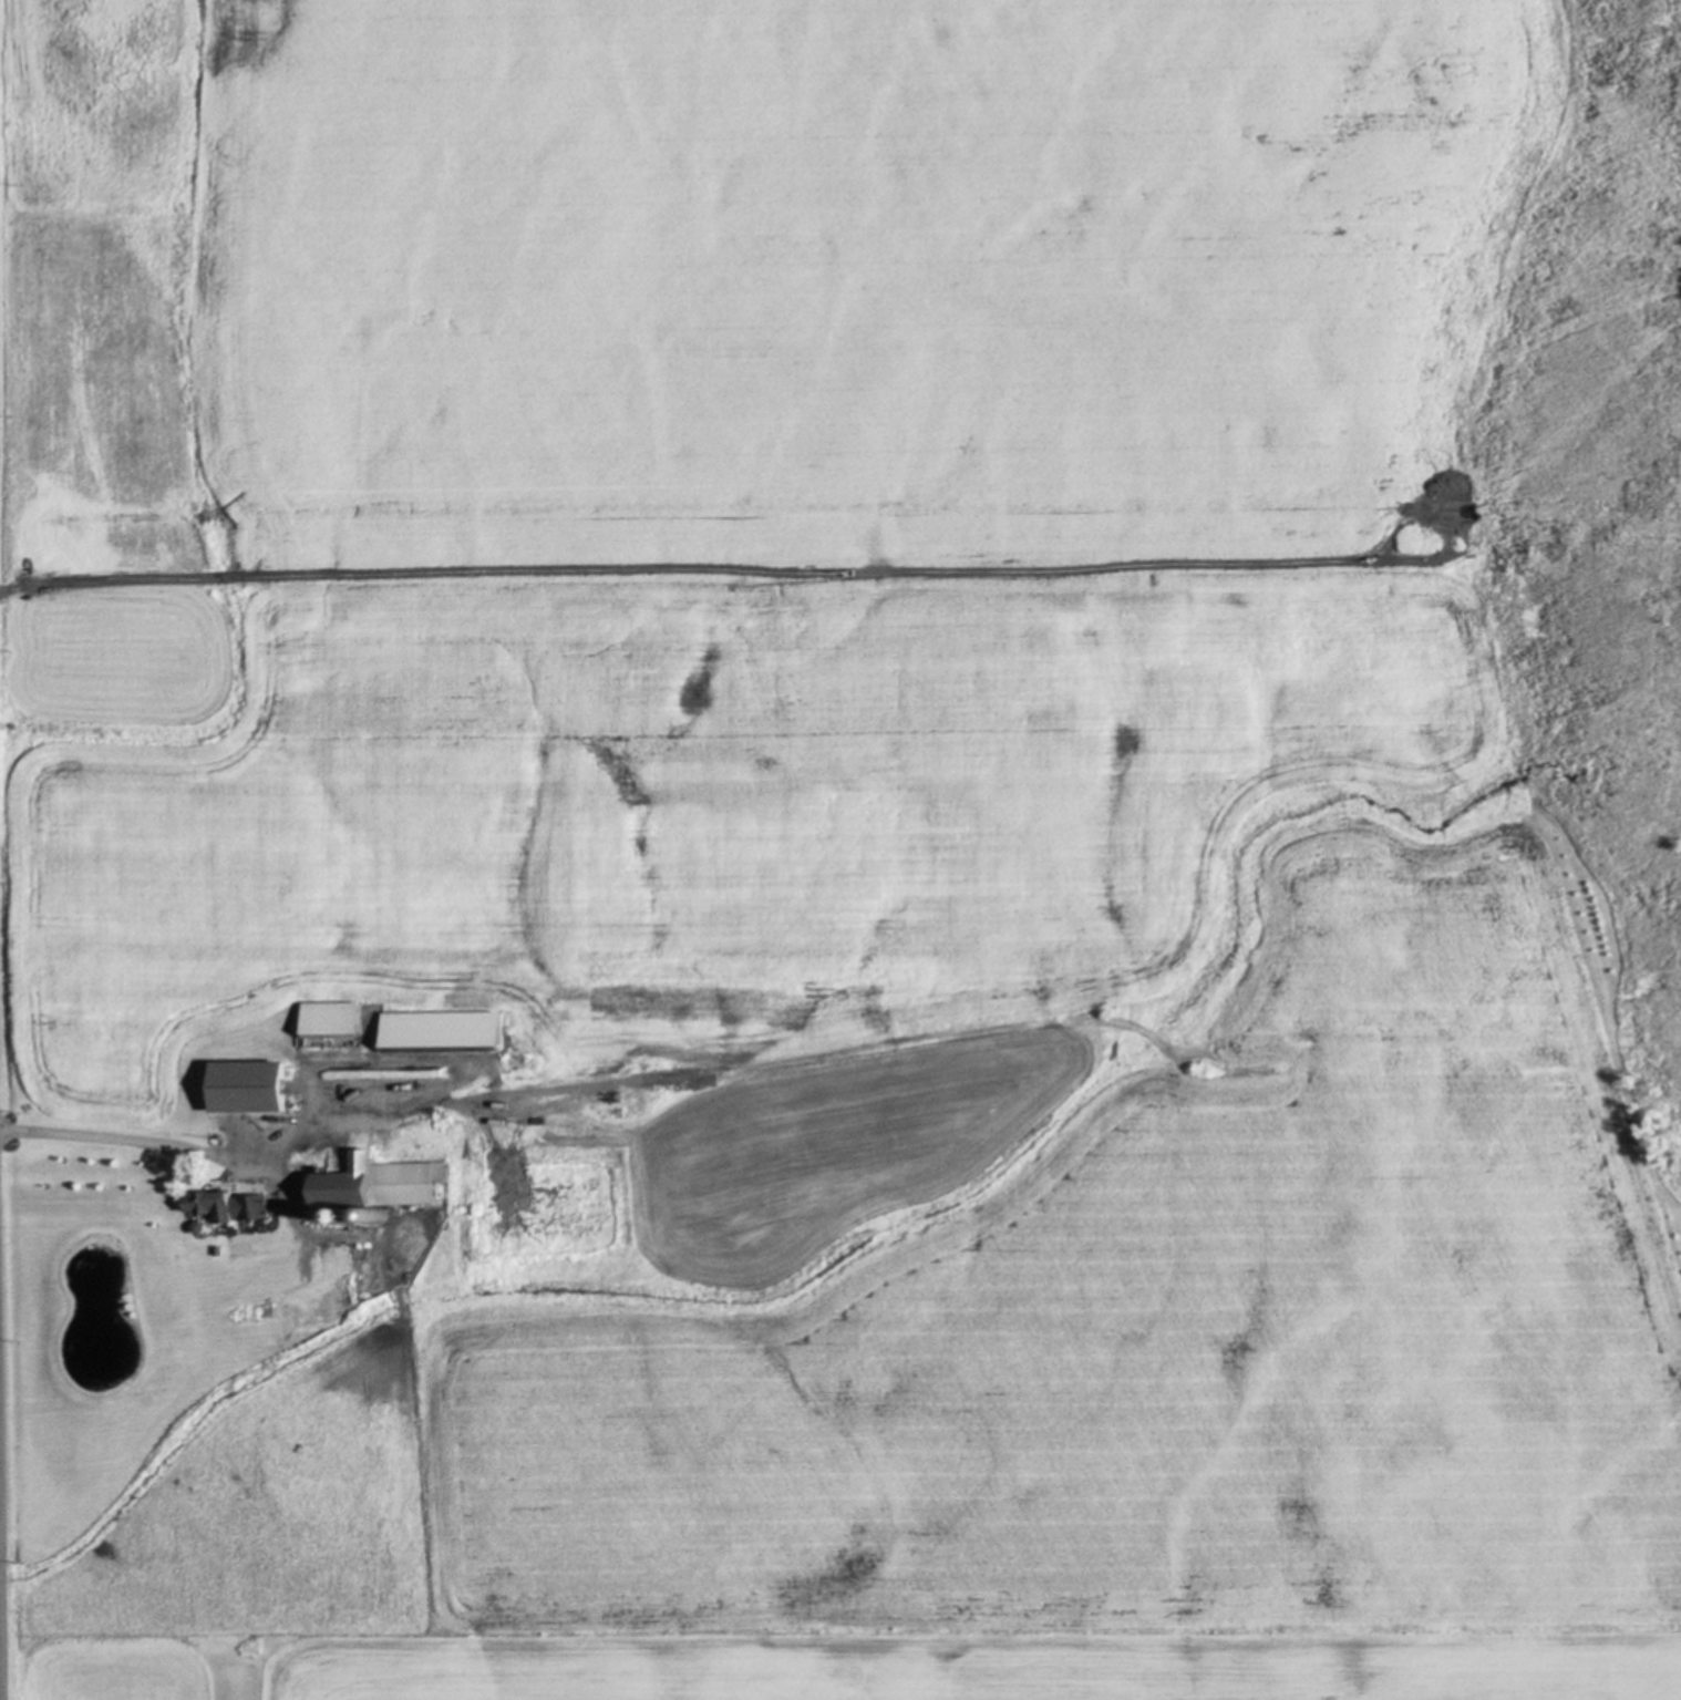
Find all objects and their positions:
building: (334, 1019)
building: (372, 1070)
building: (252, 1085)
road: (184, 1146)
building: (379, 1186)
building: (233, 1205)
building: (202, 1227)
building: (219, 1250)

